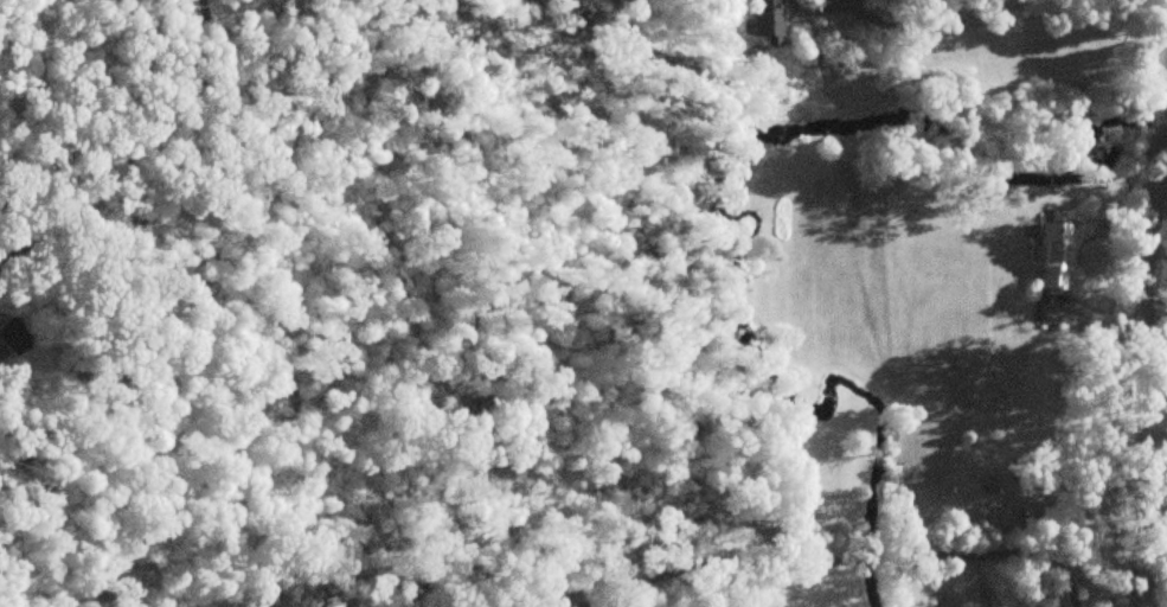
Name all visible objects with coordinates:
building: (764, 20)
road: (926, 30)
road: (139, 148)
building: (1053, 256)
road: (1144, 332)
building: (12, 337)
road: (1154, 391)
road: (847, 560)
road: (545, 592)

